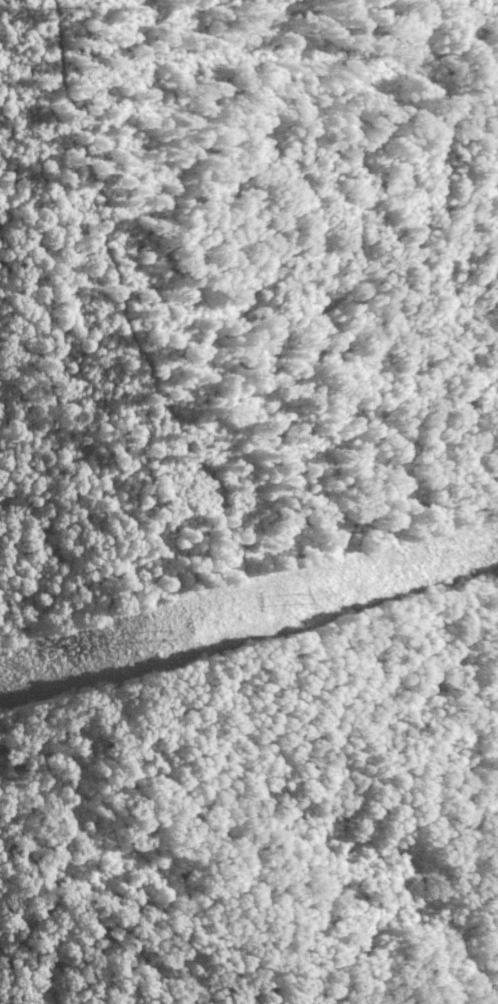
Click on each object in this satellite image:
power tower: (298, 600)
power tower: (158, 639)

